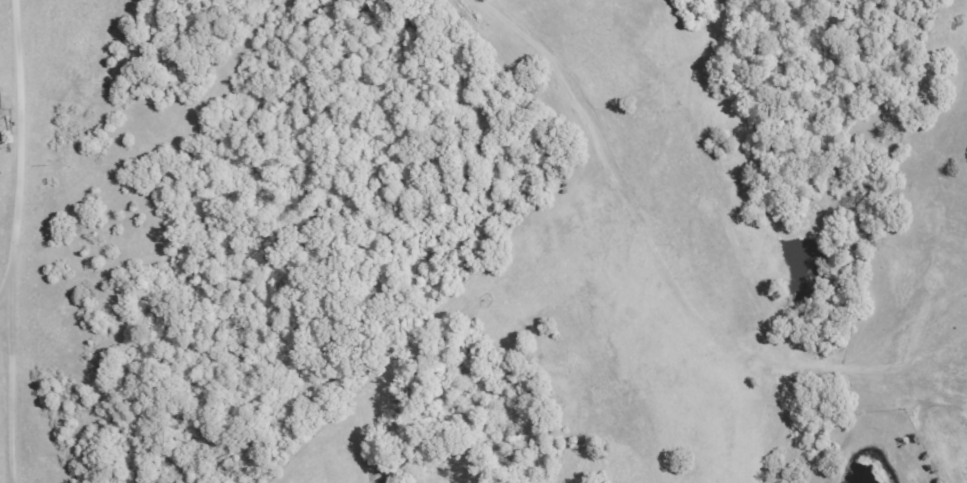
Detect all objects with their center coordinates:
building: (0, 101)

